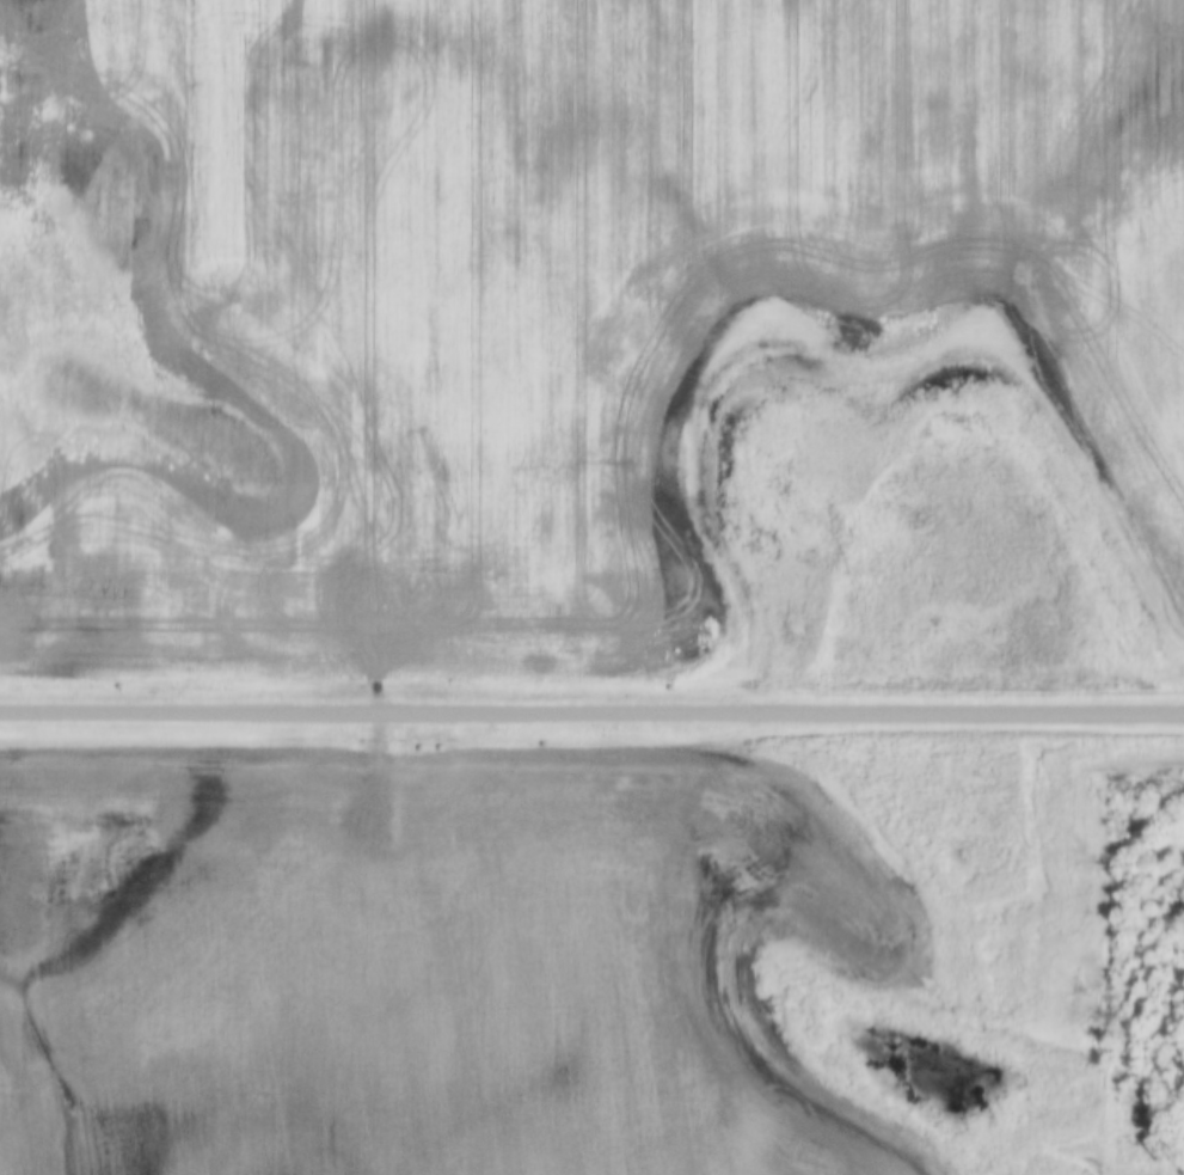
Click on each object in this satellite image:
road: (591, 710)

